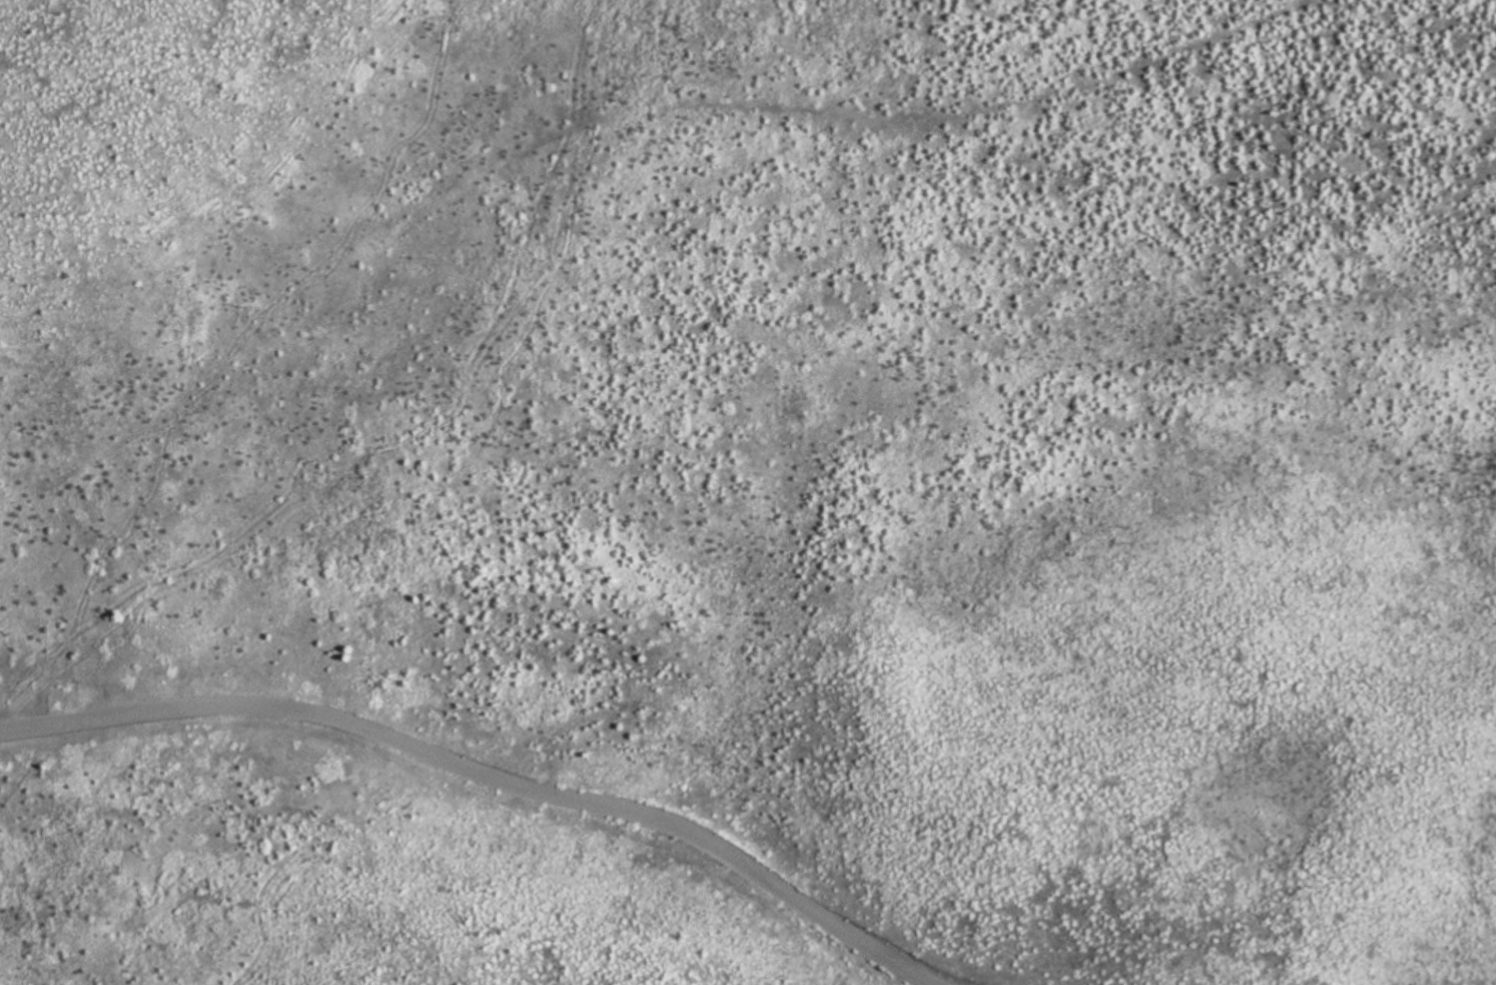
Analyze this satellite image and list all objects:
road: (510, 779)

